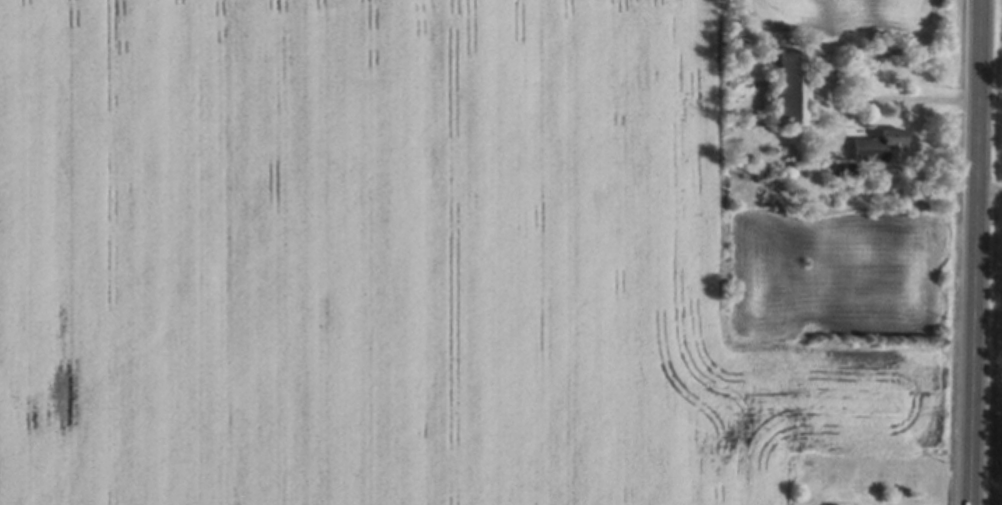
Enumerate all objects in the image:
building: (791, 94)
building: (879, 150)
road: (975, 252)

